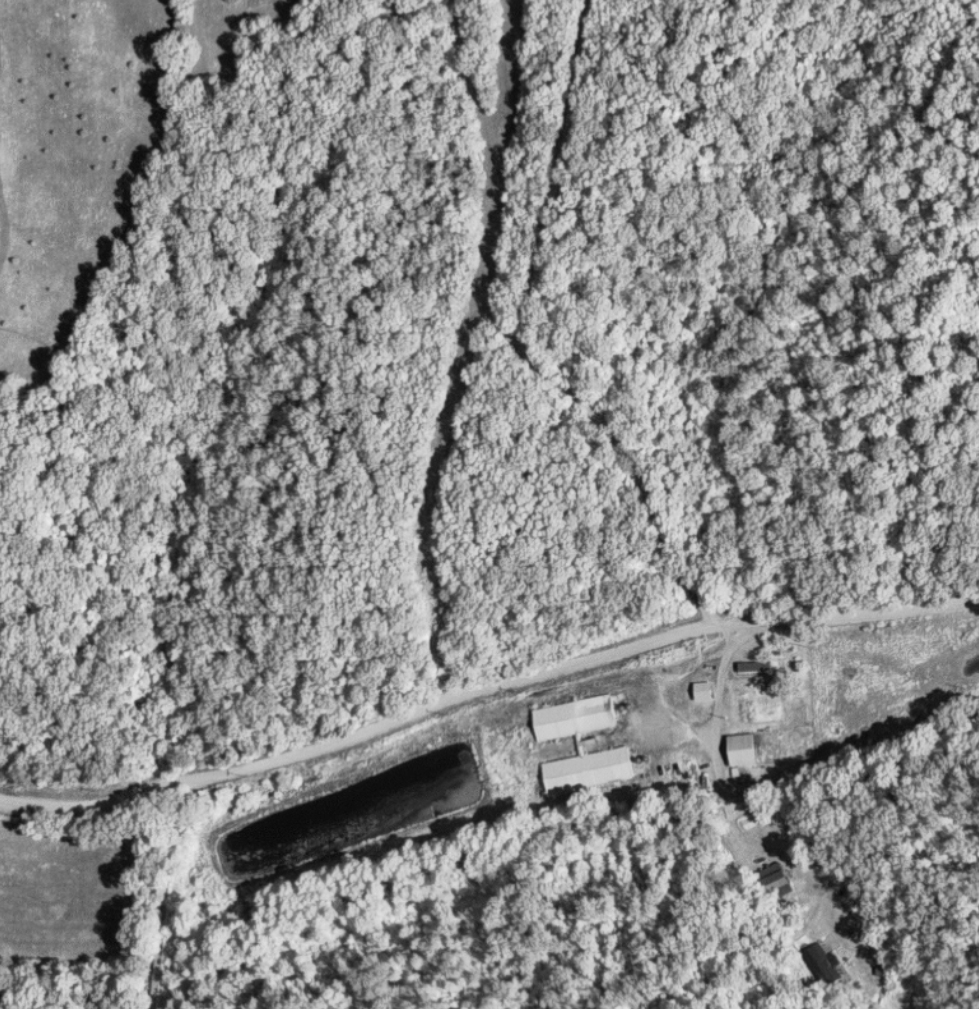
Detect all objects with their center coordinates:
road: (647, 443)
road: (748, 634)
building: (758, 668)
road: (486, 689)
building: (705, 693)
building: (575, 719)
building: (746, 751)
building: (590, 771)
road: (725, 801)
building: (782, 880)
road: (168, 888)
building: (828, 966)

